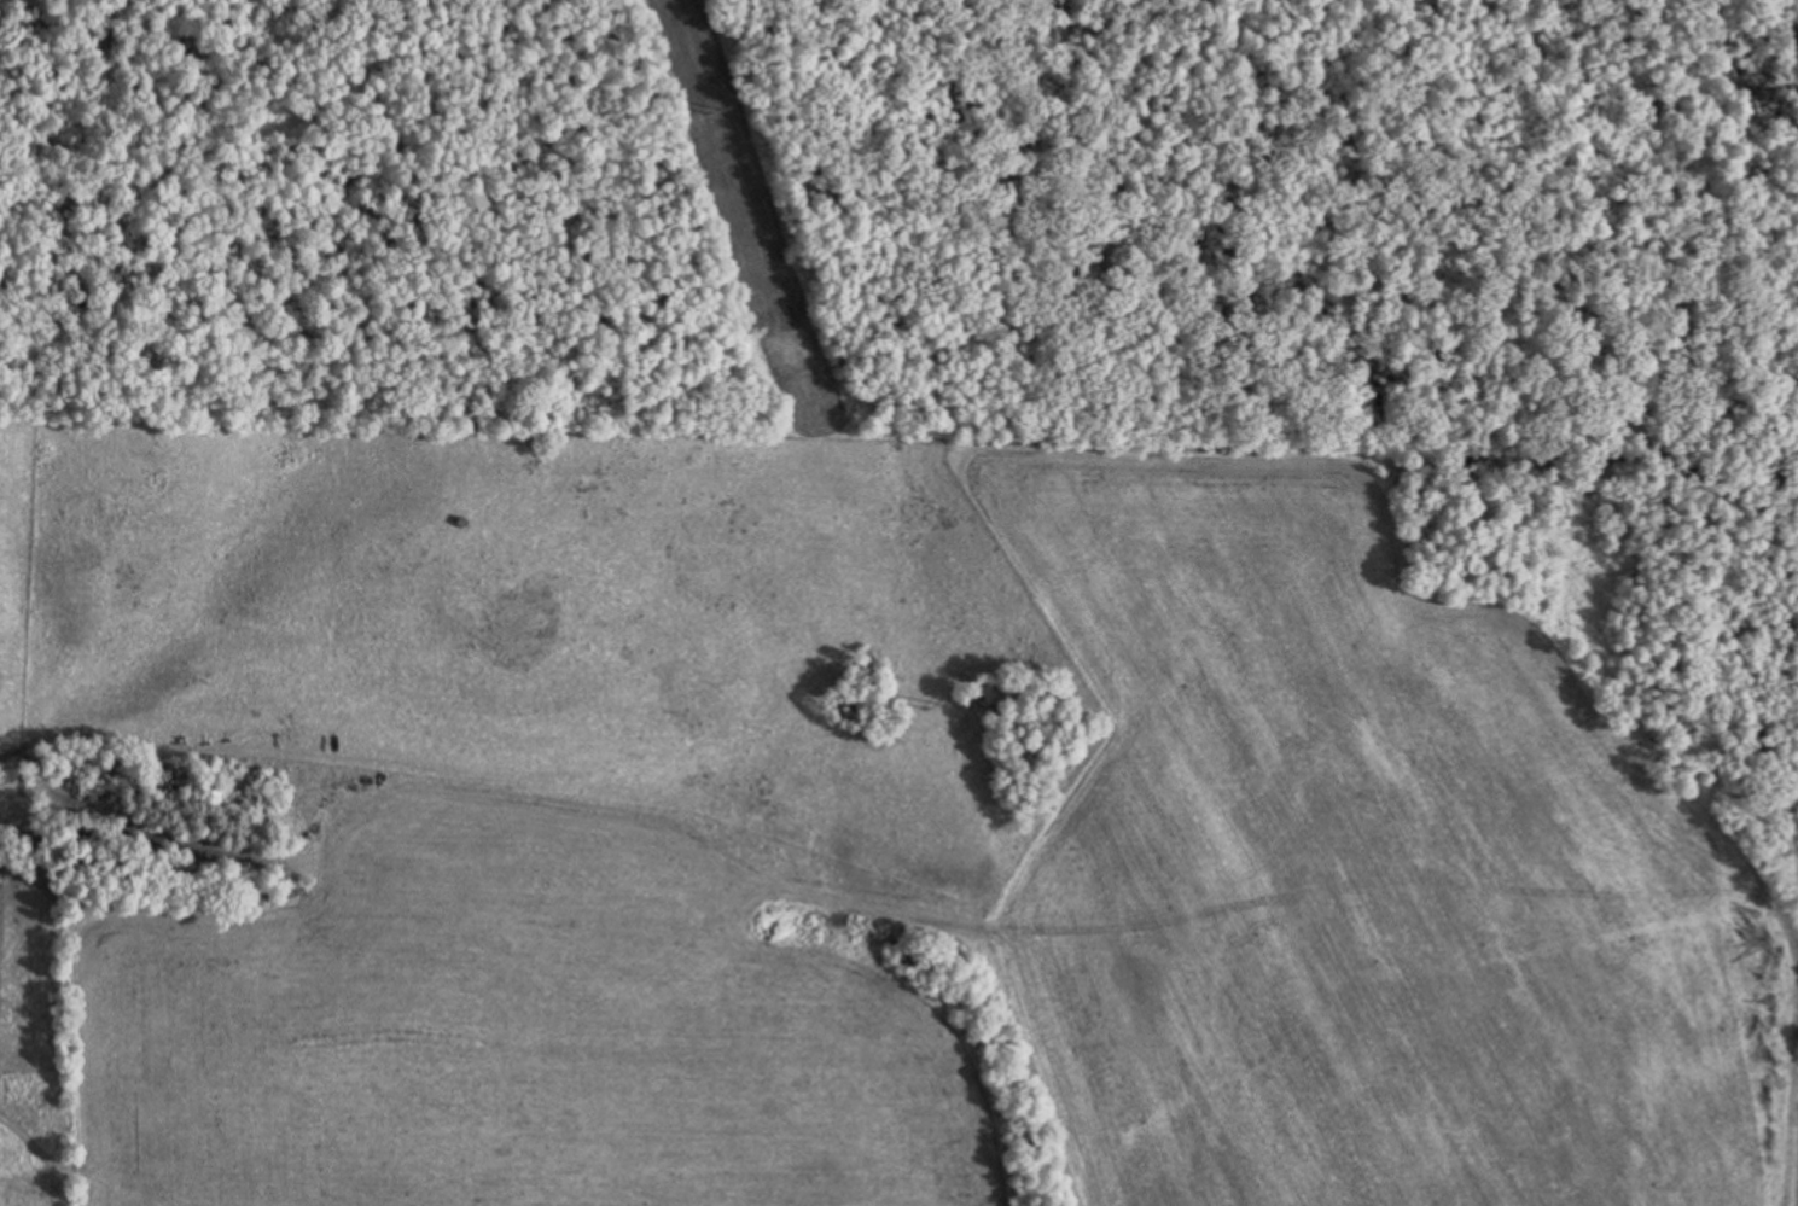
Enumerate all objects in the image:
power tower: (711, 109)
power tower: (930, 704)

